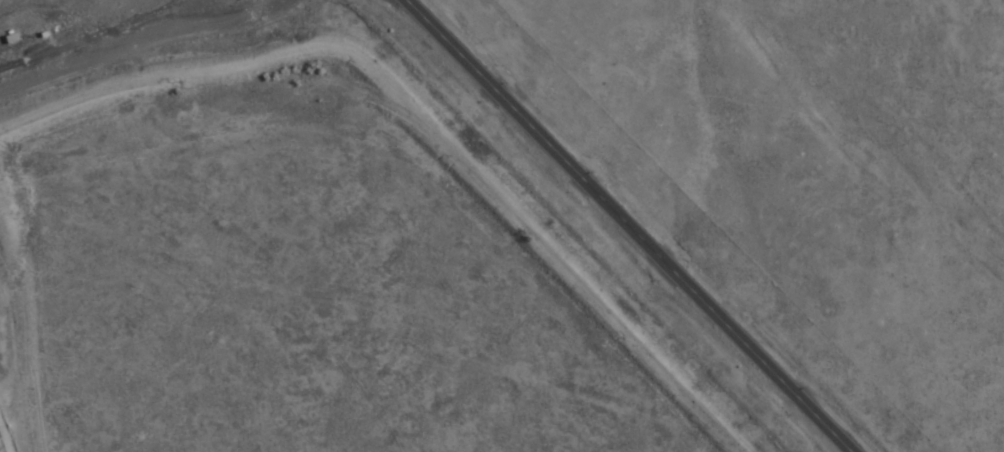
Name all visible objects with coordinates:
road: (625, 226)

